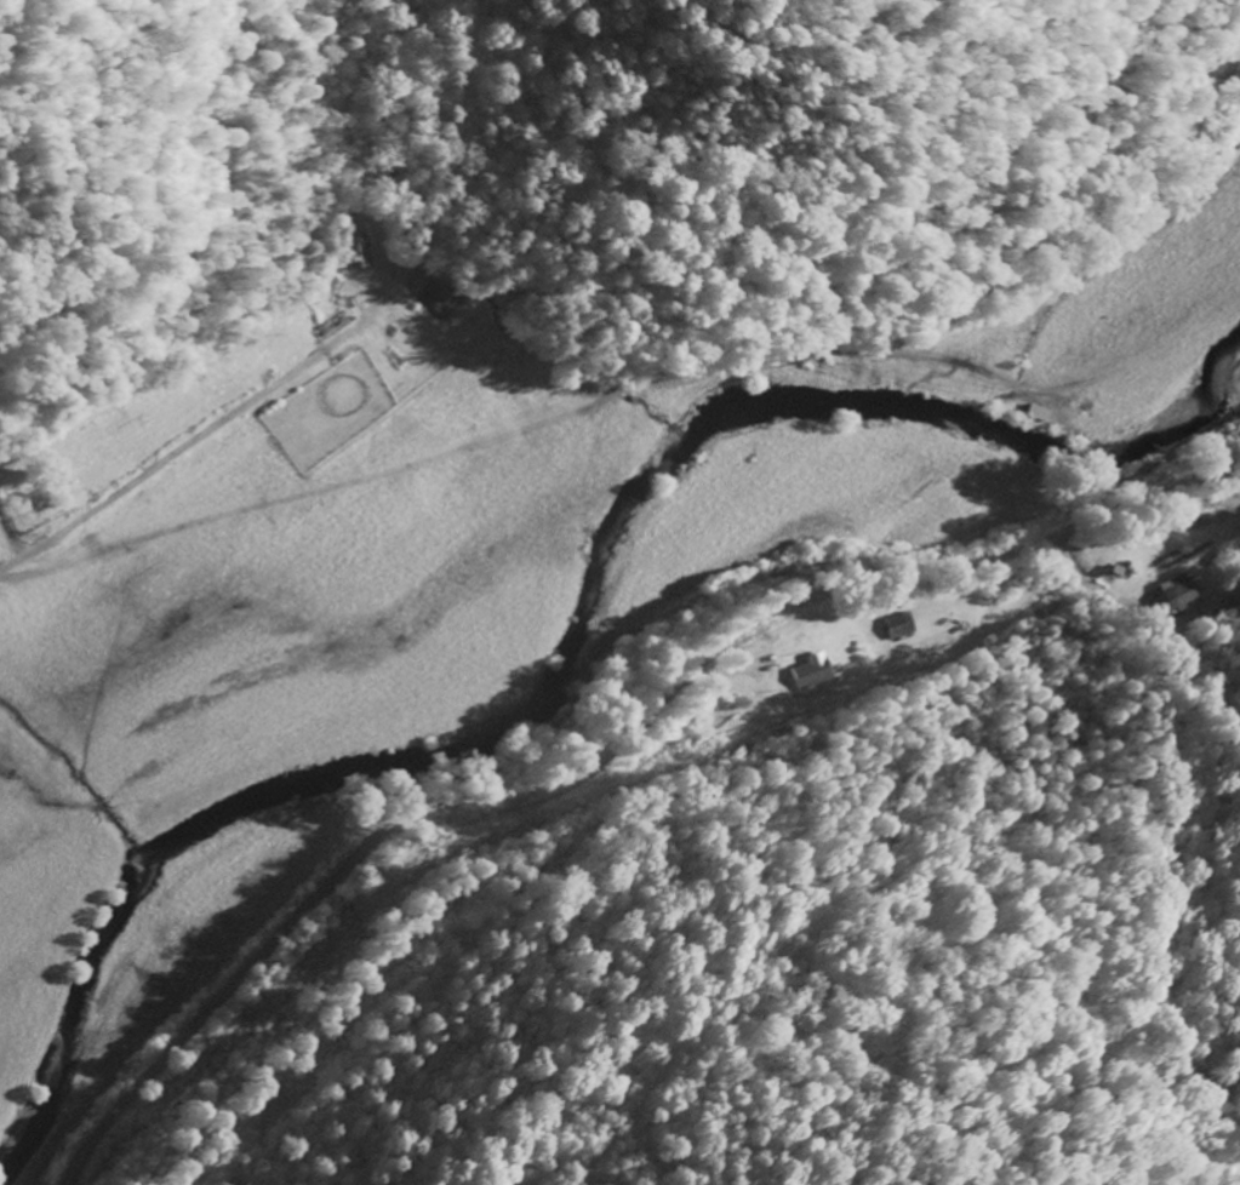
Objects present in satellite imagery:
building: (354, 252)
building: (1039, 411)
road: (161, 464)
building: (1176, 589)
building: (898, 624)
building: (808, 670)
road: (604, 752)

